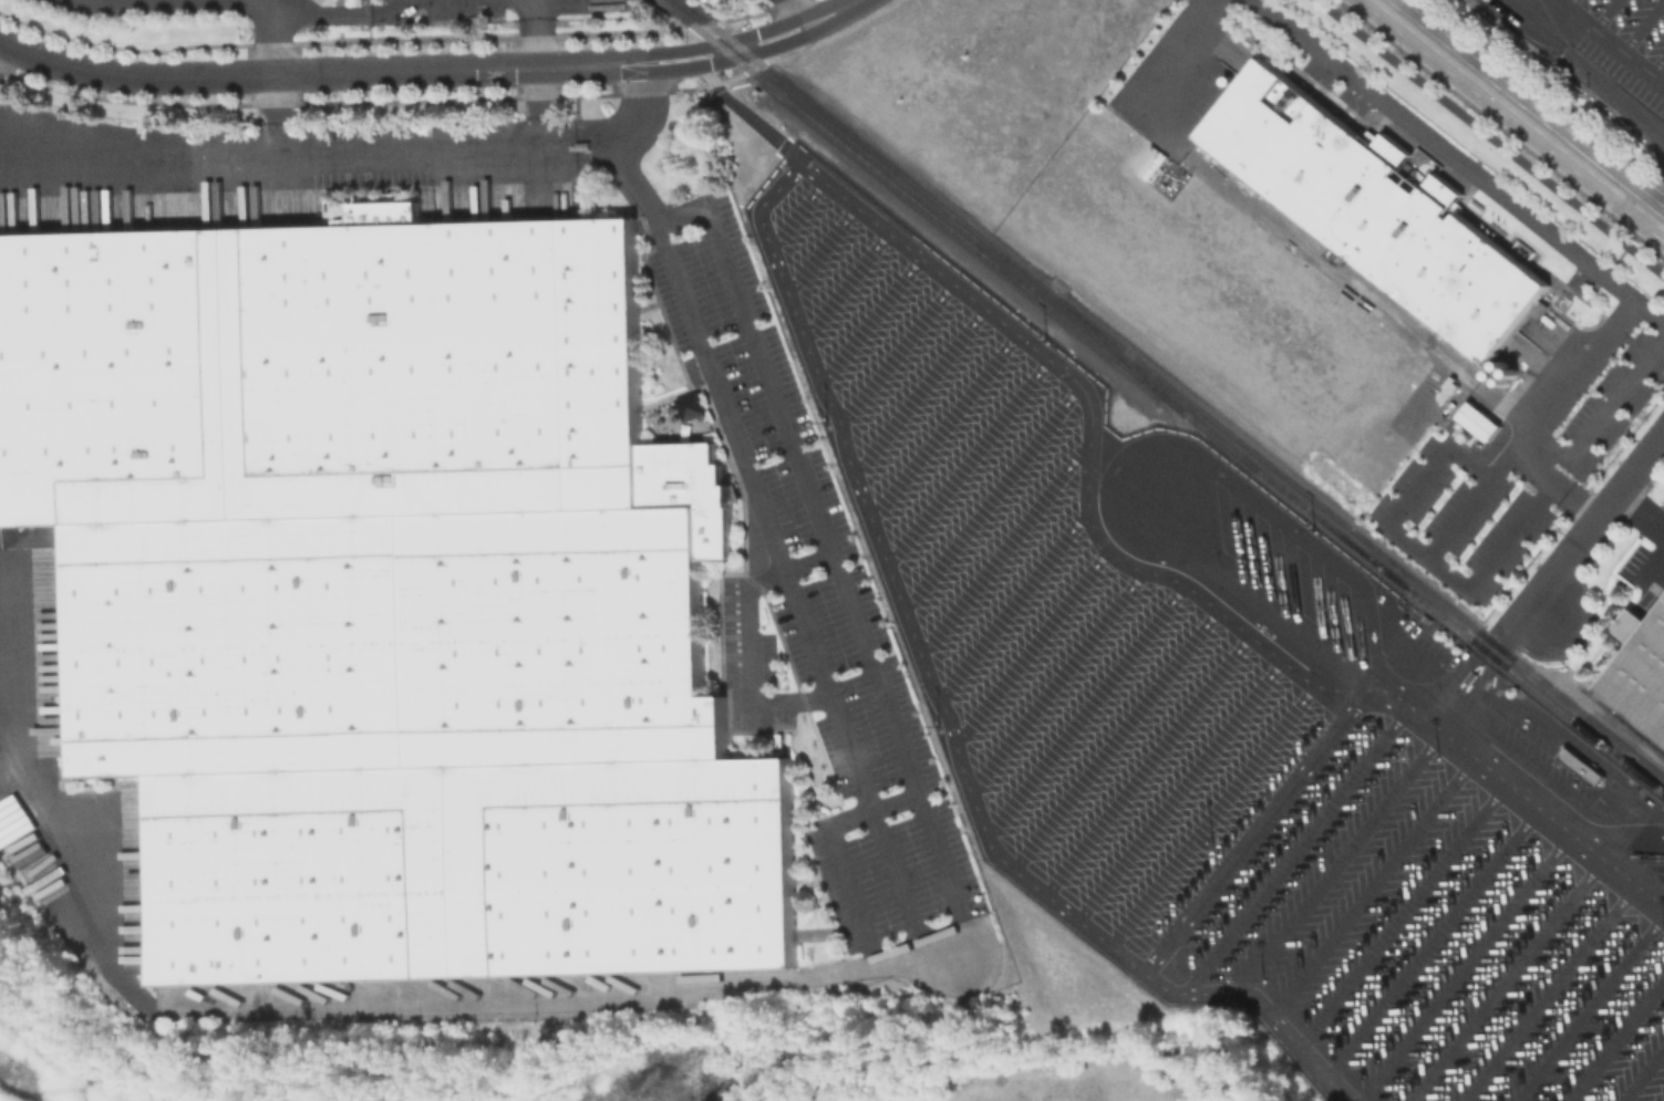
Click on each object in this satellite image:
road: (141, 0)
building: (330, 3)
road: (1567, 6)
road: (793, 14)
road: (828, 15)
road: (1603, 15)
railway: (691, 25)
road: (1641, 27)
road: (539, 30)
road: (272, 34)
road: (1606, 43)
road: (723, 52)
road: (1655, 64)
road: (319, 72)
road: (1520, 112)
road: (1490, 137)
road: (620, 142)
road: (306, 154)
building: (1377, 211)
road: (795, 214)
road: (658, 218)
road: (759, 218)
road: (1279, 227)
road: (1562, 243)
road: (819, 248)
road: (1615, 261)
road: (844, 282)
road: (870, 320)
road: (895, 352)
railway: (1117, 356)
road: (919, 387)
railway: (1171, 389)
building: (693, 407)
building: (1476, 420)
road: (943, 423)
railway: (1192, 424)
road: (968, 459)
building: (691, 491)
road: (992, 494)
road: (1639, 511)
road: (1594, 518)
road: (1005, 544)
road: (789, 574)
road: (1012, 601)
building: (384, 605)
building: (1631, 625)
road: (1031, 644)
road: (751, 666)
road: (1056, 677)
building: (1641, 679)
road: (1087, 705)
railway: (1621, 721)
road: (1116, 737)
road: (1148, 761)
building: (1580, 765)
road: (1481, 770)
road: (1180, 787)
road: (1212, 813)
road: (835, 840)
road: (1224, 872)
road: (804, 980)

